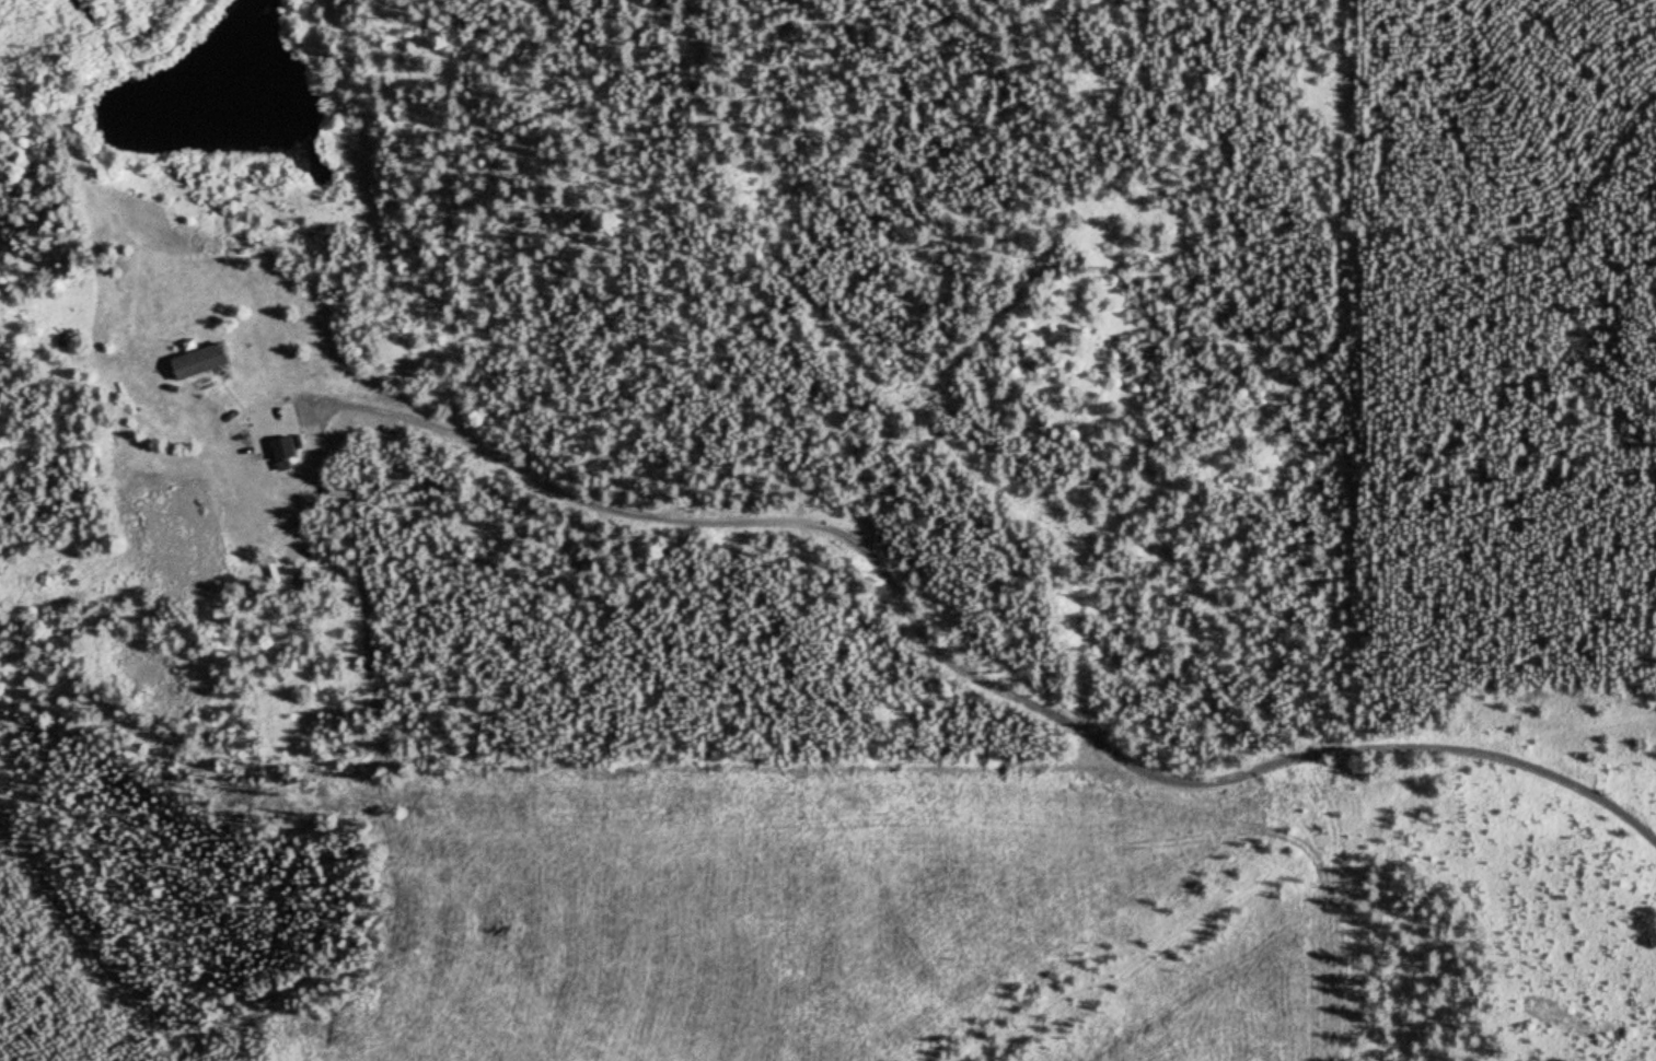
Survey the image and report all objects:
building: (204, 361)
building: (287, 451)
road: (891, 557)

